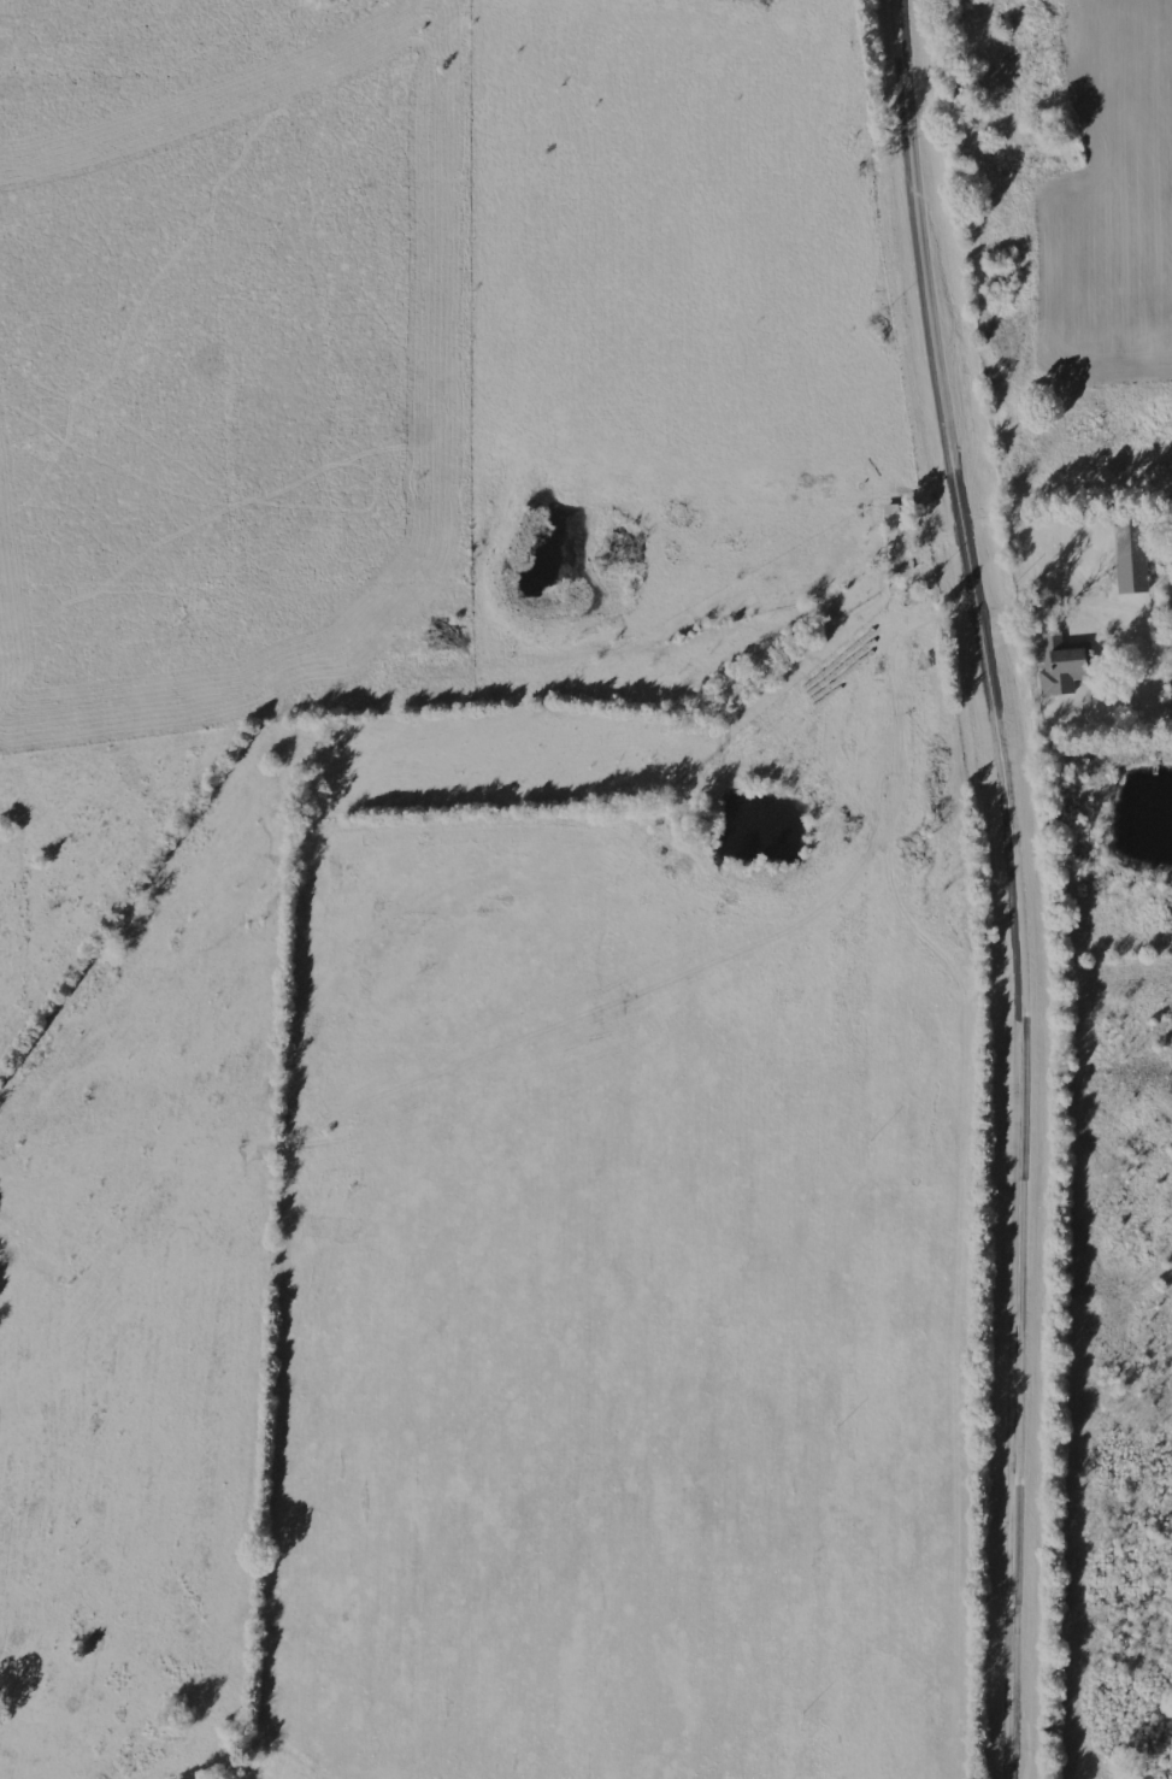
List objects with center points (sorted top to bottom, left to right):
building: (1131, 558)
road: (1021, 885)
road: (664, 890)

